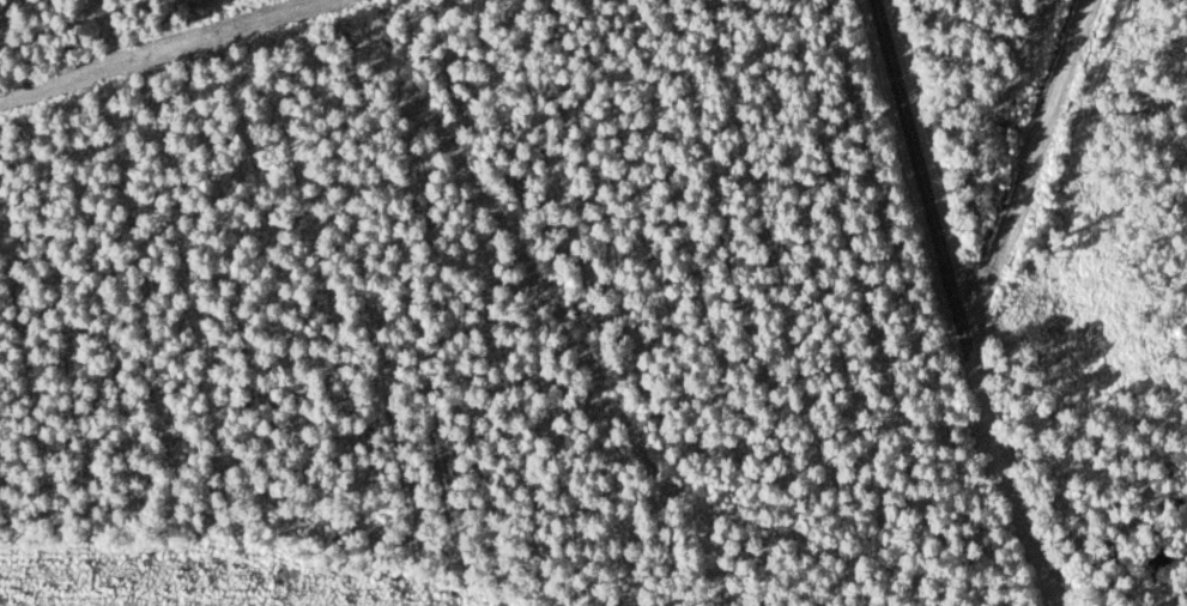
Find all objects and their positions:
road: (886, 57)
road: (1030, 170)
road: (974, 364)

